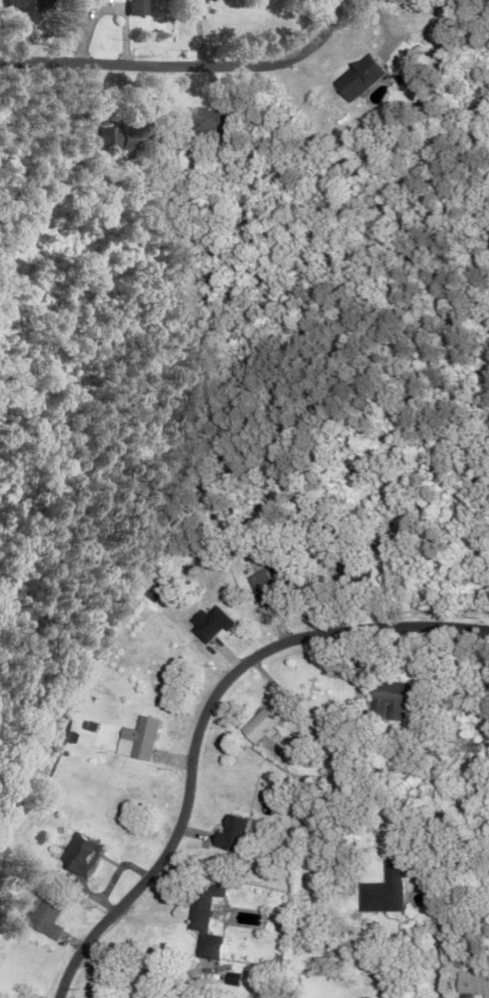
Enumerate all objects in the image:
building: (214, 0)
building: (36, 5)
building: (144, 7)
building: (453, 30)
road: (36, 61)
road: (221, 63)
building: (365, 77)
building: (210, 118)
building: (132, 136)
building: (256, 579)
building: (207, 622)
building: (389, 696)
building: (258, 723)
road: (206, 726)
building: (138, 737)
building: (225, 832)
building: (83, 853)
building: (382, 890)
building: (46, 914)
road: (441, 954)
road: (140, 975)
building: (472, 984)

